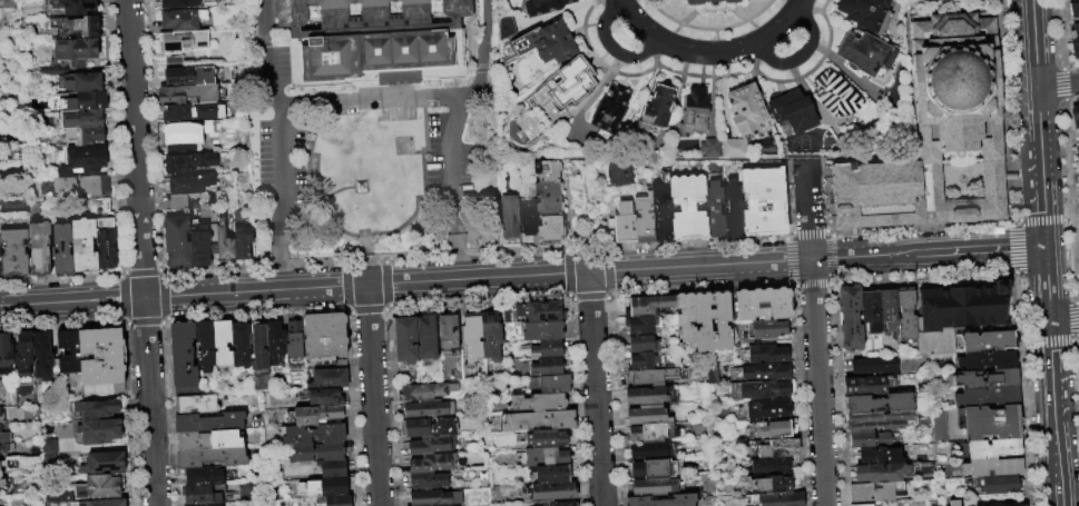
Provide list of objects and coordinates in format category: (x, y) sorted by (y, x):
road: (620, 1)
building: (1075, 1)
building: (179, 3)
road: (627, 3)
building: (714, 3)
building: (541, 6)
road: (797, 6)
building: (72, 7)
building: (1073, 10)
building: (864, 11)
building: (183, 20)
road: (637, 22)
road: (264, 23)
building: (76, 28)
road: (757, 28)
road: (709, 29)
road: (776, 29)
building: (1075, 32)
road: (673, 33)
building: (182, 40)
building: (371, 40)
building: (537, 41)
road: (481, 47)
road: (611, 48)
building: (1076, 48)
building: (76, 51)
road: (705, 52)
building: (866, 54)
road: (798, 56)
road: (273, 67)
building: (187, 77)
road: (1033, 80)
building: (85, 82)
building: (566, 83)
road: (1057, 85)
building: (836, 93)
building: (187, 95)
road: (447, 95)
road: (277, 96)
road: (395, 98)
building: (88, 101)
road: (328, 101)
building: (659, 106)
building: (746, 109)
building: (610, 110)
building: (696, 110)
building: (193, 112)
building: (792, 112)
building: (1075, 115)
building: (84, 119)
building: (204, 128)
building: (178, 132)
building: (936, 132)
building: (82, 138)
building: (710, 147)
building: (735, 148)
building: (182, 150)
road: (458, 153)
building: (1077, 153)
road: (279, 157)
building: (86, 158)
building: (189, 163)
building: (1078, 167)
building: (547, 169)
building: (616, 173)
building: (82, 186)
building: (183, 186)
building: (1077, 190)
building: (549, 197)
building: (764, 200)
building: (178, 202)
building: (1078, 202)
road: (1041, 204)
building: (688, 207)
building: (661, 209)
building: (715, 209)
building: (734, 209)
building: (645, 218)
building: (510, 220)
building: (528, 220)
building: (624, 224)
building: (550, 231)
building: (242, 238)
building: (177, 240)
road: (454, 240)
building: (224, 244)
building: (106, 246)
building: (84, 247)
traffic signals: (1044, 247)
building: (39, 248)
building: (62, 248)
building: (200, 249)
road: (281, 250)
road: (140, 252)
building: (13, 254)
road: (474, 254)
building: (1078, 260)
road: (345, 262)
road: (275, 265)
building: (0, 270)
road: (140, 270)
road: (160, 270)
road: (120, 271)
road: (60, 277)
road: (521, 277)
road: (384, 284)
road: (344, 285)
road: (1047, 286)
building: (763, 305)
building: (648, 306)
building: (963, 307)
road: (386, 308)
building: (889, 308)
road: (345, 310)
road: (366, 311)
building: (540, 311)
building: (871, 311)
building: (908, 316)
building: (851, 318)
building: (686, 319)
building: (722, 320)
building: (703, 321)
road: (1063, 321)
building: (641, 326)
building: (541, 330)
building: (764, 330)
road: (814, 333)
building: (448, 335)
building: (426, 337)
building: (491, 337)
building: (325, 338)
building: (472, 339)
building: (406, 340)
building: (946, 340)
building: (275, 341)
building: (222, 343)
building: (990, 343)
building: (641, 344)
building: (929, 344)
building: (205, 345)
building: (294, 345)
building: (241, 346)
building: (550, 348)
building: (67, 351)
building: (22, 354)
building: (184, 354)
building: (4, 355)
building: (765, 355)
building: (101, 356)
building: (42, 357)
building: (259, 358)
building: (644, 361)
building: (988, 361)
building: (549, 367)
building: (875, 367)
building: (764, 373)
building: (712, 375)
building: (654, 377)
building: (328, 378)
building: (985, 379)
building: (556, 384)
building: (866, 386)
road: (595, 389)
building: (761, 390)
building: (425, 391)
road: (372, 396)
building: (323, 397)
building: (648, 397)
building: (988, 397)
road: (1052, 398)
building: (539, 403)
building: (197, 404)
building: (879, 404)
building: (94, 409)
building: (429, 410)
building: (767, 410)
building: (0, 411)
building: (315, 415)
building: (647, 417)
building: (0, 418)
building: (539, 420)
building: (879, 421)
building: (209, 423)
building: (990, 423)
building: (940, 426)
building: (429, 428)
building: (773, 429)
building: (99, 430)
building: (61, 431)
building: (650, 433)
building: (314, 434)
building: (4, 437)
building: (543, 438)
building: (208, 440)
building: (869, 440)
building: (431, 445)
building: (49, 446)
building: (6, 448)
building: (778, 449)
building: (993, 449)
building: (650, 450)
building: (317, 452)
building: (212, 457)
building: (542, 457)
building: (880, 457)
building: (2, 464)
building: (102, 464)
building: (431, 464)
building: (772, 466)
building: (333, 468)
building: (656, 468)
building: (994, 468)
building: (881, 473)
building: (0, 474)
building: (549, 474)
building: (203, 475)
building: (429, 482)
building: (2, 483)
building: (771, 485)
building: (1001, 485)
building: (334, 486)
building: (654, 486)
building: (99, 487)
building: (310, 488)
road: (1057, 489)
building: (551, 493)
building: (872, 493)
building: (204, 494)
building: (56, 497)
building: (435, 498)
building: (775, 499)
building: (336, 500)
building: (663, 500)
building: (100, 503)
building: (209, 504)
building: (560, 504)
building: (954, 504)
building: (865, 505)
building: (1021, 505)

